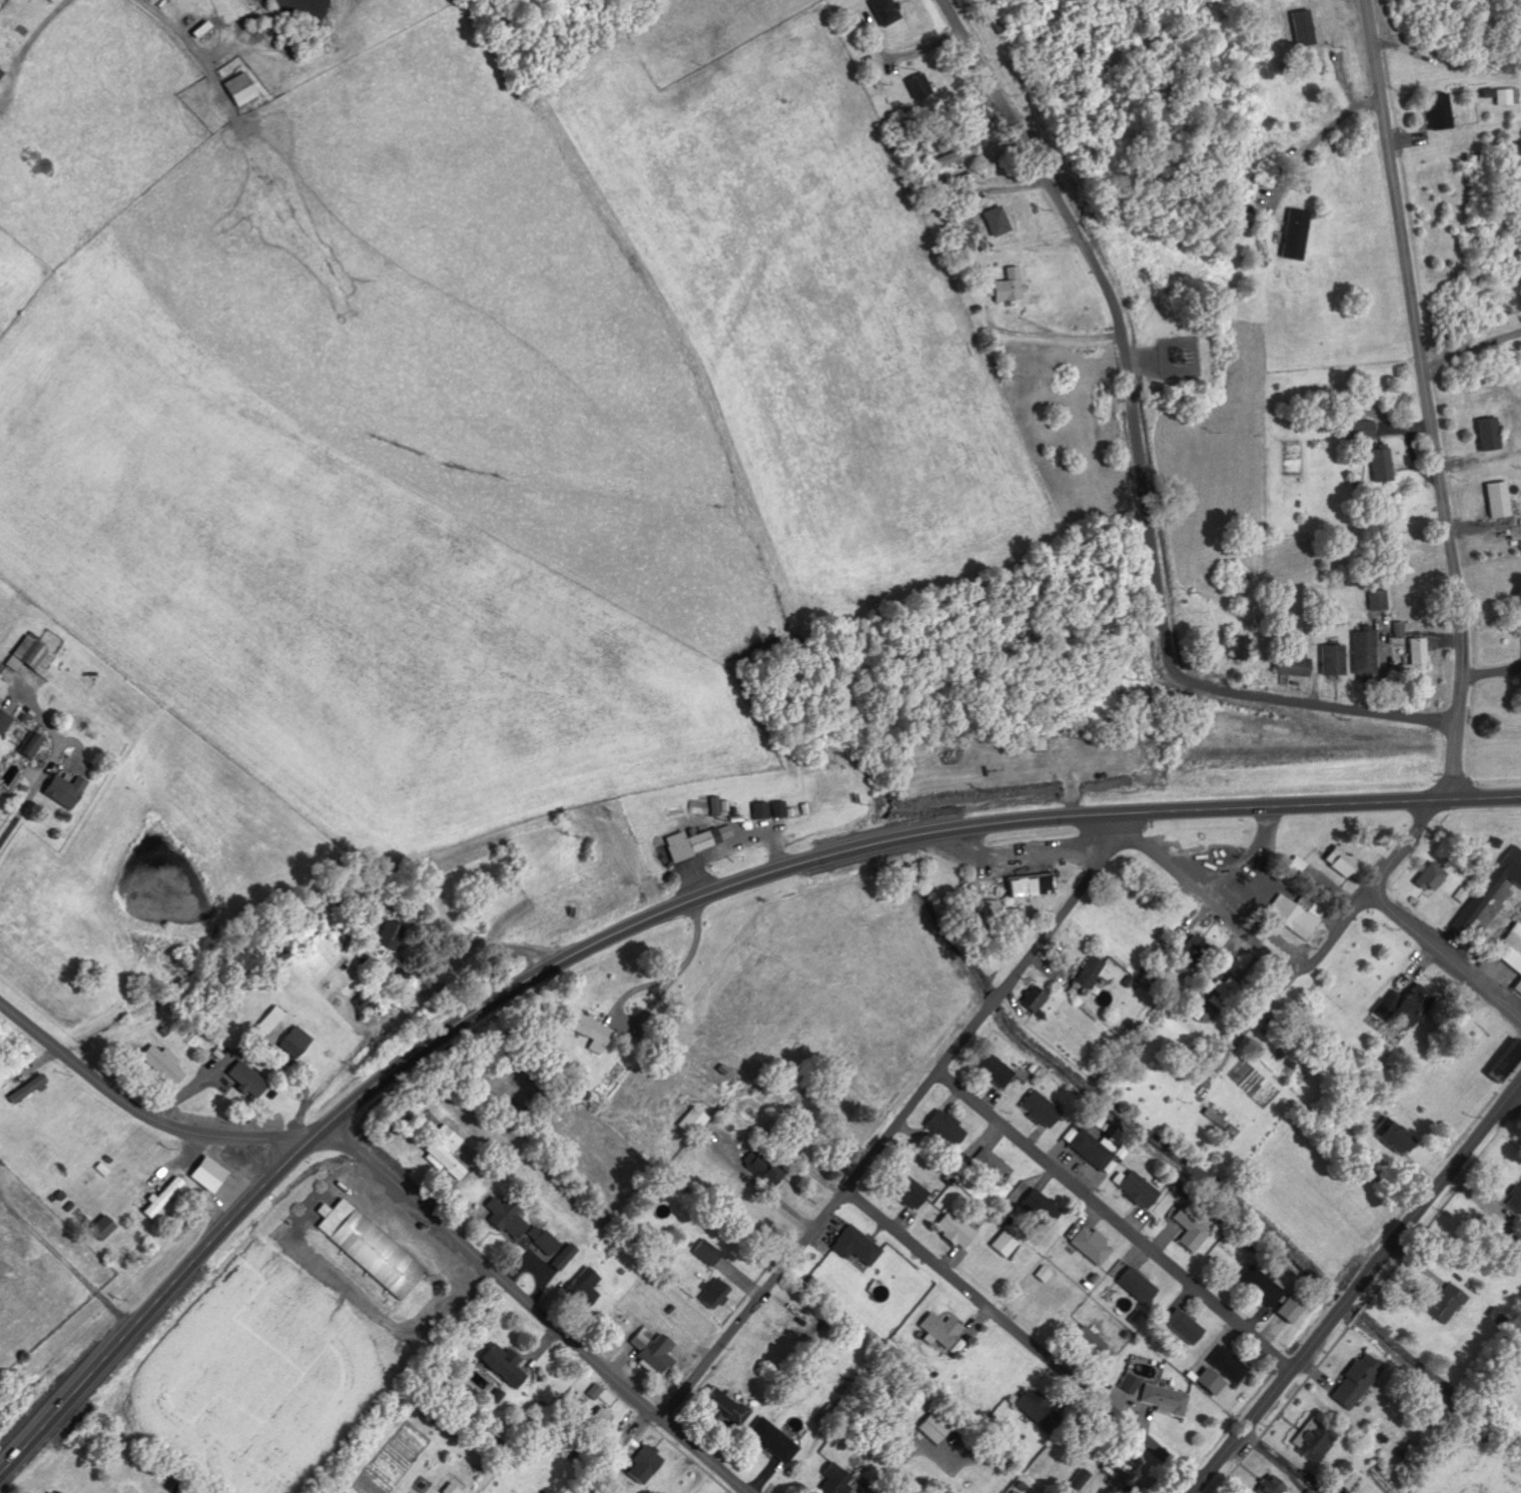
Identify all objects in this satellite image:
building: (56, 0)
building: (1, 4)
road: (1365, 5)
building: (881, 11)
building: (2, 74)
building: (916, 86)
building: (242, 90)
building: (1506, 96)
building: (1438, 112)
building: (957, 155)
building: (995, 221)
building: (1293, 234)
building: (964, 244)
building: (1008, 286)
building: (1362, 430)
building: (1488, 434)
road: (1140, 456)
road: (1436, 460)
building: (1380, 464)
building: (1498, 500)
building: (1379, 600)
building: (1401, 629)
building: (1236, 648)
building: (1364, 652)
building: (33, 657)
building: (1333, 660)
building: (1416, 663)
building: (1292, 665)
building: (5, 722)
building: (1038, 744)
building: (33, 745)
building: (69, 791)
building: (777, 809)
building: (759, 811)
road: (1112, 821)
building: (725, 832)
building: (685, 844)
building: (1339, 862)
building: (1295, 866)
building: (1429, 878)
building: (1497, 880)
building: (1029, 886)
road: (660, 913)
building: (997, 916)
building: (1292, 918)
building: (396, 936)
road: (1246, 936)
building: (1192, 949)
building: (1511, 954)
road: (1442, 959)
building: (1087, 973)
building: (399, 978)
building: (1222, 992)
building: (1033, 1001)
building: (1401, 1005)
building: (1196, 1013)
building: (276, 1021)
building: (588, 1030)
building: (301, 1043)
building: (1503, 1061)
building: (168, 1065)
building: (992, 1069)
building: (252, 1080)
building: (32, 1090)
building: (1037, 1108)
road: (141, 1111)
road: (891, 1127)
building: (946, 1128)
building: (1395, 1138)
building: (1090, 1150)
building: (442, 1153)
building: (990, 1166)
building: (207, 1174)
building: (1136, 1189)
building: (906, 1190)
building: (162, 1197)
building: (1515, 1199)
building: (1038, 1207)
building: (504, 1216)
road: (1114, 1219)
building: (101, 1228)
building: (953, 1229)
building: (1191, 1229)
building: (539, 1239)
building: (1002, 1245)
building: (1091, 1245)
building: (854, 1246)
building: (367, 1247)
building: (705, 1252)
building: (562, 1257)
building: (1043, 1274)
building: (1133, 1281)
building: (582, 1287)
road: (1356, 1288)
building: (1265, 1291)
building: (712, 1294)
building: (1443, 1304)
road: (533, 1308)
building: (1184, 1326)
building: (940, 1329)
road: (1022, 1335)
building: (1087, 1342)
building: (649, 1347)
building: (1227, 1364)
building: (501, 1365)
building: (1354, 1381)
building: (1209, 1382)
building: (1129, 1383)
building: (497, 1396)
building: (1165, 1400)
building: (724, 1408)
building: (1033, 1408)
building: (930, 1429)
building: (769, 1440)
building: (621, 1444)
building: (1315, 1445)
building: (640, 1464)
building: (1347, 1479)
building: (831, 1481)
building: (1270, 1485)

